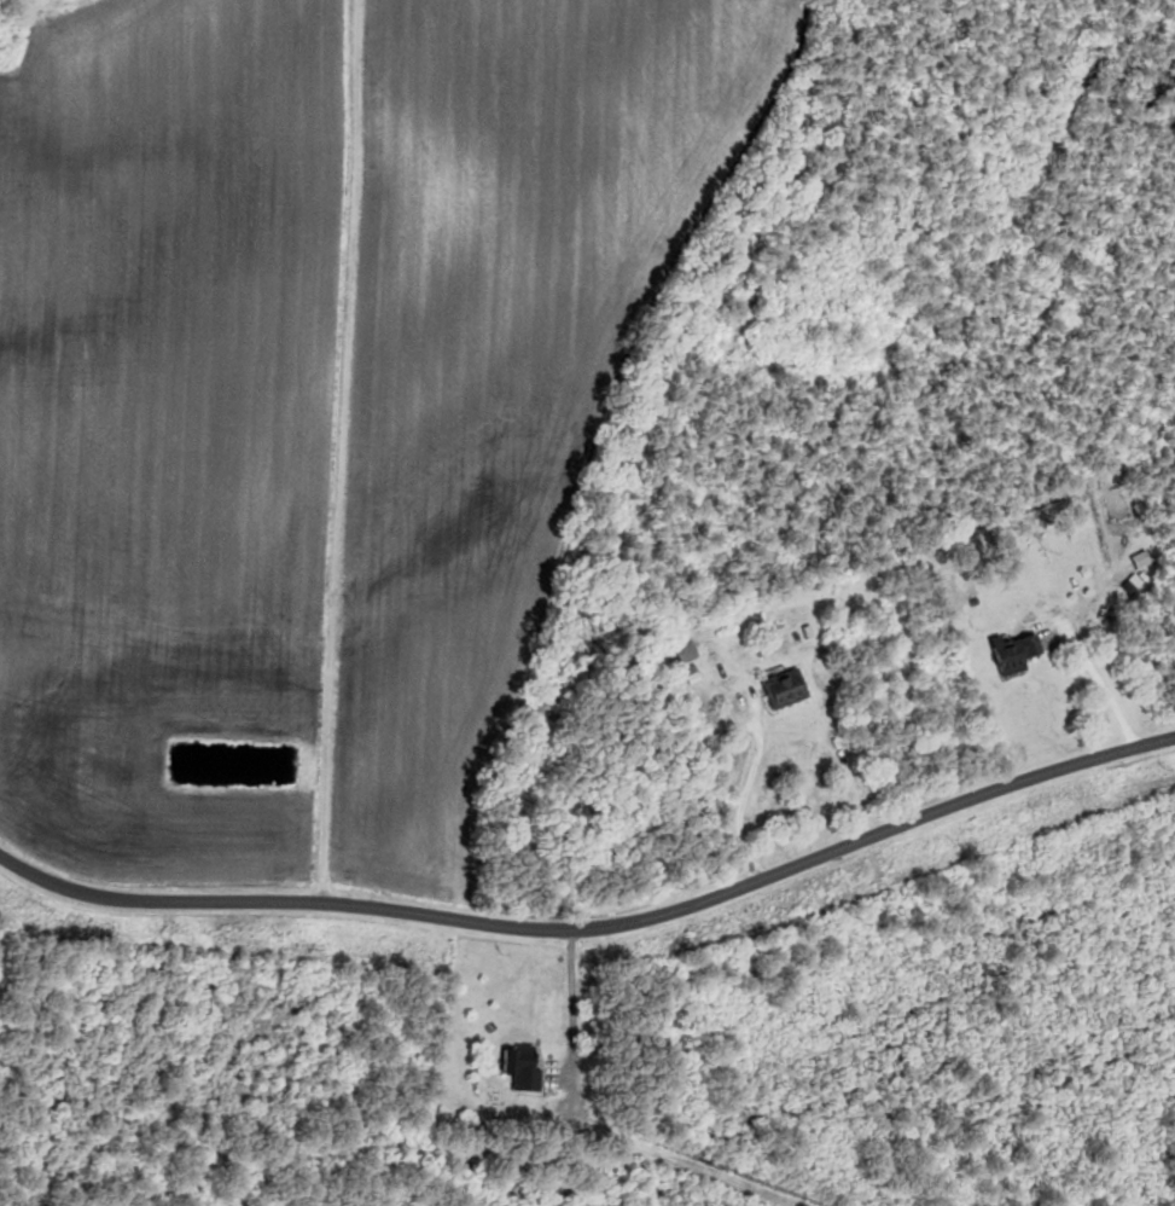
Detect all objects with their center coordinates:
building: (680, 653)
building: (1007, 653)
building: (779, 689)
road: (1094, 692)
road: (744, 793)
road: (597, 929)
road: (571, 1007)
building: (517, 1065)

